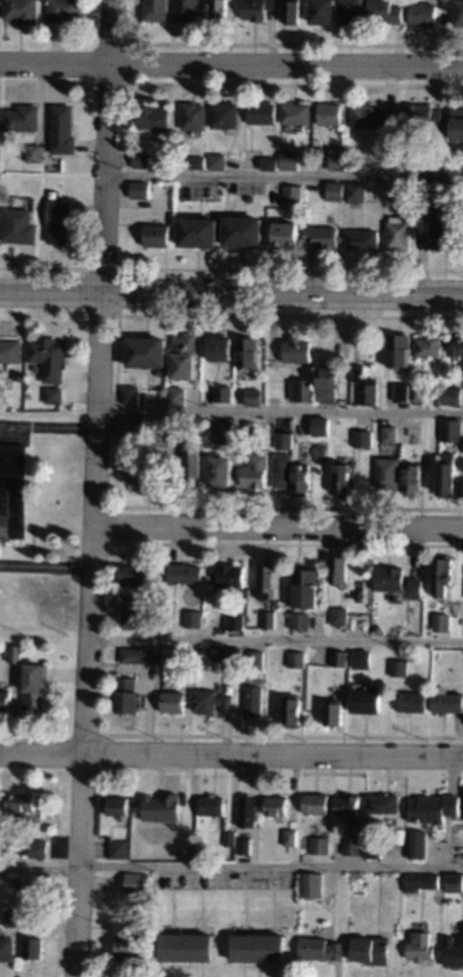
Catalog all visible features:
building: (219, 9)
building: (258, 9)
building: (22, 10)
building: (65, 10)
building: (187, 10)
building: (157, 11)
building: (292, 11)
building: (323, 11)
building: (352, 12)
building: (386, 12)
building: (459, 12)
building: (424, 13)
road: (231, 64)
building: (263, 113)
building: (296, 114)
building: (331, 114)
building: (194, 115)
building: (225, 115)
building: (373, 115)
building: (155, 116)
building: (424, 116)
building: (0, 118)
building: (23, 118)
building: (457, 123)
building: (63, 129)
building: (35, 153)
building: (141, 159)
building: (198, 161)
building: (217, 161)
building: (338, 162)
building: (269, 163)
building: (289, 163)
building: (354, 165)
road: (283, 176)
building: (141, 190)
building: (335, 190)
building: (356, 191)
building: (407, 192)
building: (293, 196)
building: (251, 198)
building: (428, 208)
building: (60, 219)
building: (20, 226)
building: (199, 232)
building: (244, 232)
building: (399, 233)
building: (286, 234)
building: (158, 235)
building: (446, 235)
building: (323, 237)
building: (363, 239)
road: (231, 291)
building: (428, 345)
building: (458, 346)
building: (220, 348)
building: (298, 349)
building: (12, 350)
building: (400, 350)
building: (147, 351)
building: (248, 352)
building: (185, 356)
building: (51, 357)
building: (161, 371)
building: (22, 376)
building: (328, 384)
building: (365, 385)
building: (303, 390)
building: (399, 392)
building: (417, 393)
building: (55, 394)
building: (131, 394)
building: (224, 394)
building: (177, 395)
building: (452, 395)
building: (254, 397)
building: (344, 399)
building: (274, 400)
road: (279, 412)
building: (134, 426)
building: (318, 426)
road: (47, 428)
building: (249, 429)
building: (452, 429)
building: (223, 432)
building: (177, 433)
building: (413, 434)
building: (370, 435)
building: (390, 435)
building: (285, 441)
building: (298, 444)
building: (191, 469)
building: (222, 470)
building: (283, 470)
building: (256, 471)
building: (388, 472)
building: (146, 474)
building: (447, 474)
building: (413, 478)
building: (302, 479)
building: (343, 479)
road: (92, 488)
building: (11, 490)
road: (277, 527)
road: (44, 568)
building: (339, 570)
building: (185, 573)
building: (135, 575)
building: (231, 575)
building: (443, 575)
building: (268, 581)
building: (397, 581)
building: (306, 588)
building: (339, 615)
building: (193, 618)
building: (131, 619)
building: (270, 619)
building: (301, 620)
building: (441, 621)
building: (236, 622)
building: (377, 627)
road: (275, 640)
building: (440, 651)
building: (171, 653)
building: (14, 654)
building: (140, 654)
building: (233, 656)
building: (339, 657)
building: (257, 658)
building: (297, 658)
building: (358, 659)
building: (400, 667)
building: (220, 670)
building: (36, 687)
building: (128, 696)
building: (6, 700)
building: (366, 700)
building: (447, 700)
building: (209, 701)
building: (253, 701)
building: (172, 702)
building: (413, 702)
building: (293, 710)
building: (334, 713)
road: (231, 753)
building: (19, 802)
building: (316, 803)
building: (347, 803)
building: (383, 804)
building: (119, 805)
building: (213, 805)
building: (275, 806)
building: (435, 806)
building: (162, 807)
building: (247, 811)
building: (401, 834)
building: (290, 837)
building: (231, 838)
building: (320, 843)
building: (417, 843)
building: (354, 845)
building: (245, 846)
building: (39, 847)
building: (119, 848)
building: (373, 849)
road: (231, 866)
building: (137, 881)
building: (420, 881)
building: (455, 882)
building: (312, 883)
building: (28, 885)
building: (144, 912)
building: (14, 917)
building: (461, 931)
building: (421, 945)
building: (130, 946)
building: (187, 946)
building: (259, 947)
building: (34, 948)
building: (321, 948)
building: (7, 949)
building: (373, 950)
building: (454, 950)

